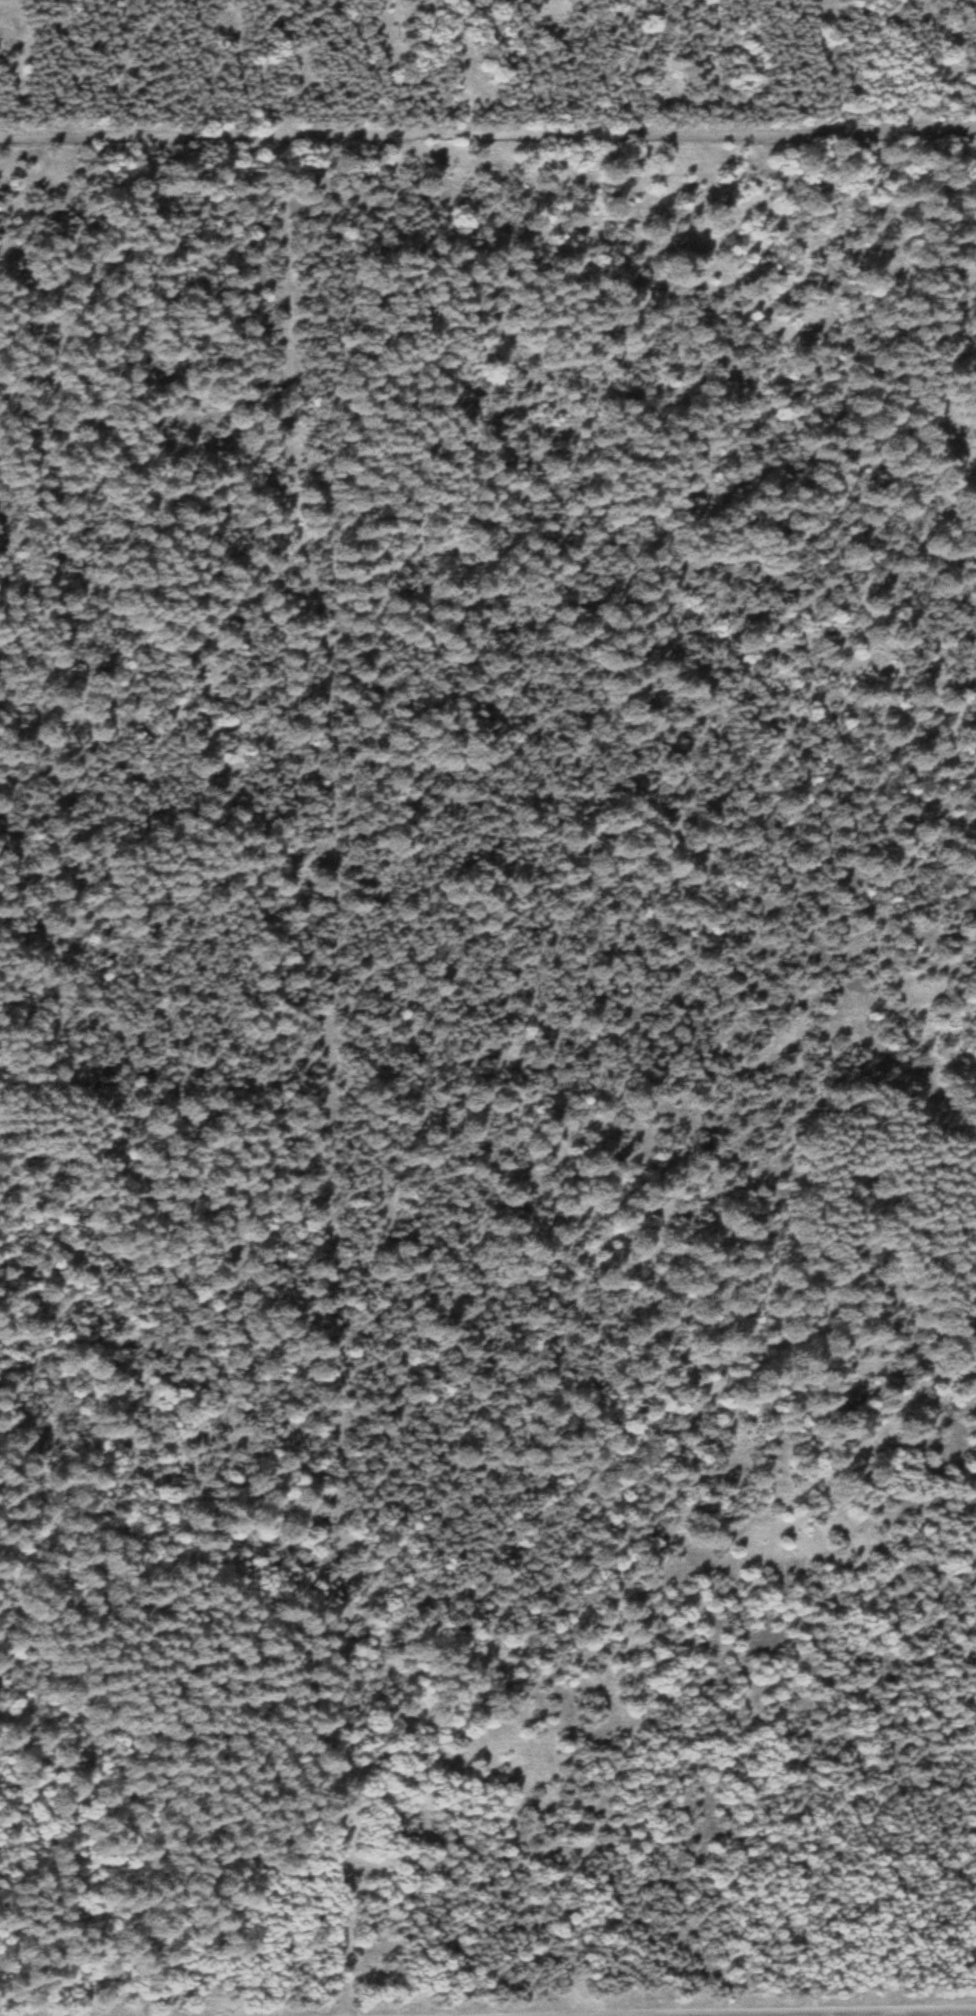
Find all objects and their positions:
road: (488, 141)
road: (321, 1080)

